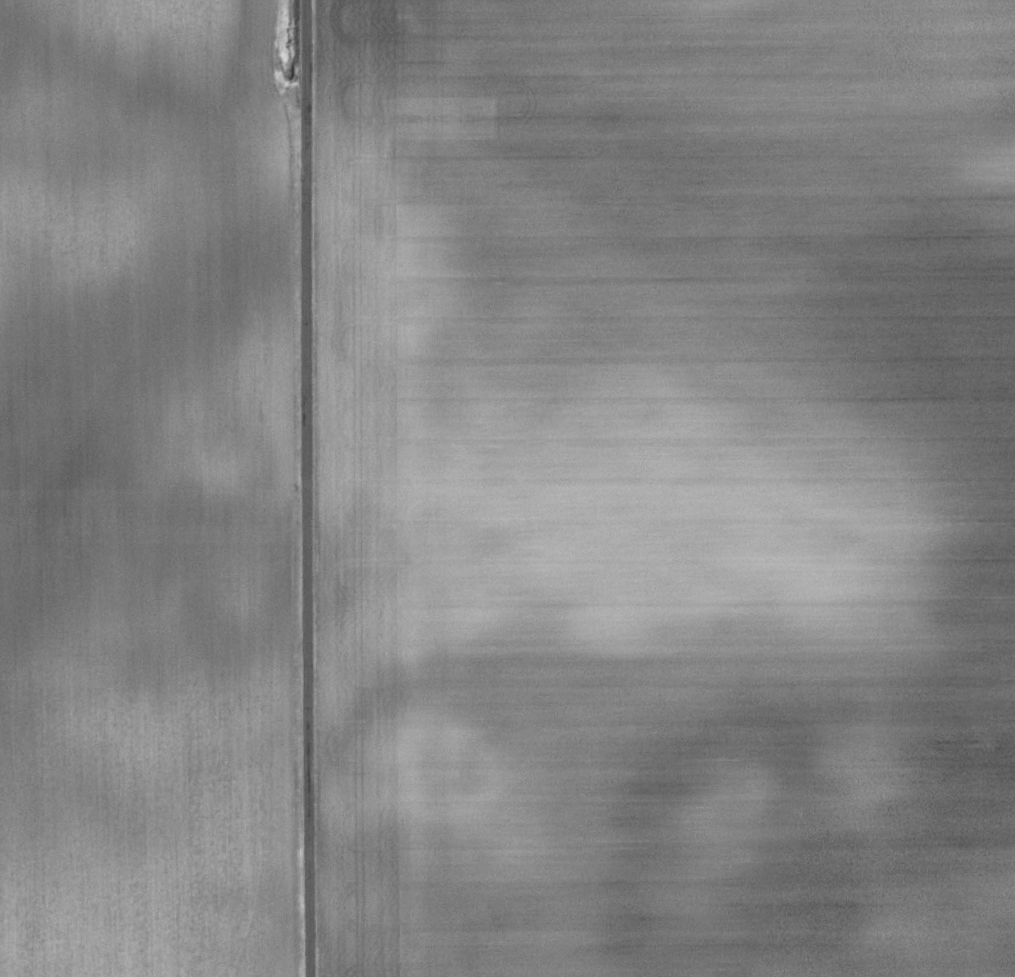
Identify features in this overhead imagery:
road: (307, 488)

